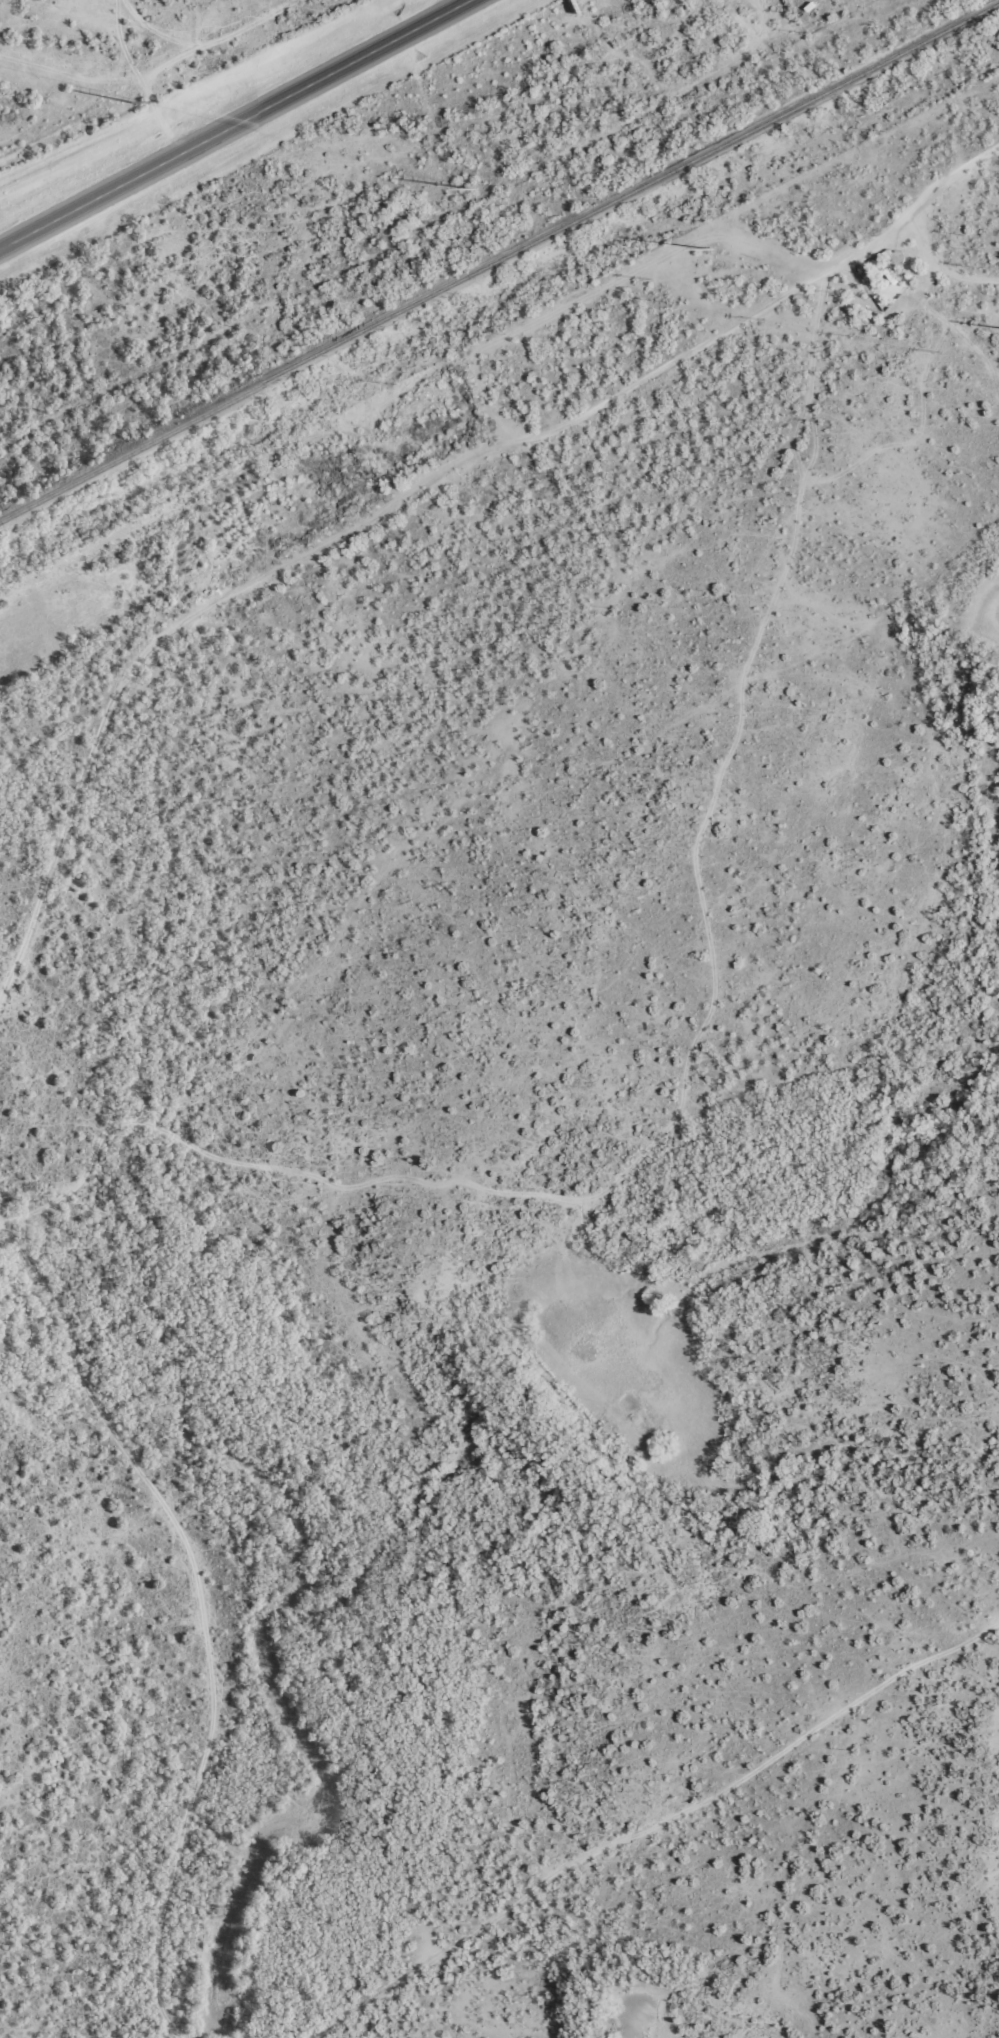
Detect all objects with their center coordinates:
road: (172, 69)
power tower: (127, 100)
road: (234, 127)
power tower: (471, 188)
road: (909, 205)
power tower: (708, 248)
railway: (499, 259)
road: (314, 540)
road: (683, 1063)

